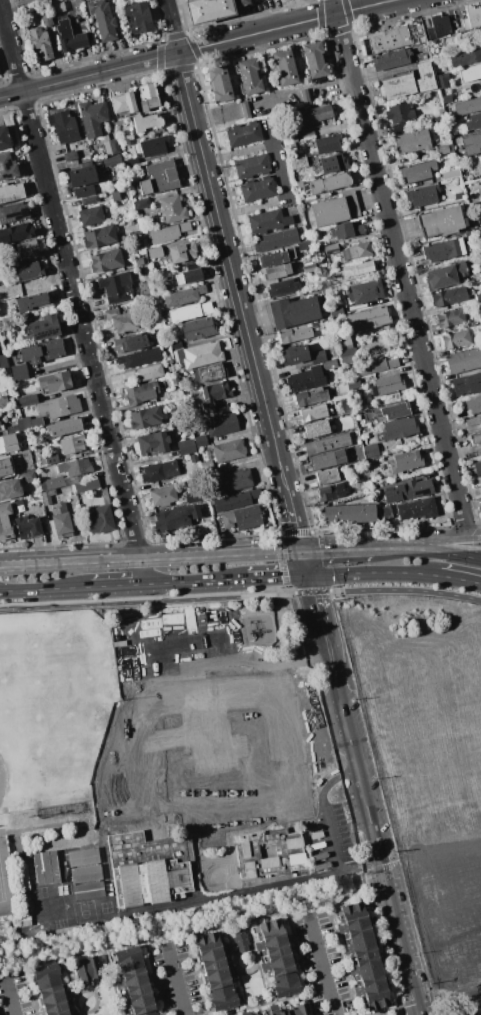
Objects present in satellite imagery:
building: (28, 0)
building: (284, 0)
building: (241, 2)
building: (59, 7)
building: (208, 10)
building: (138, 17)
building: (472, 18)
building: (103, 19)
building: (47, 20)
road: (172, 26)
road: (286, 26)
building: (439, 27)
building: (460, 30)
building: (70, 36)
building: (394, 37)
building: (450, 42)
building: (40, 43)
building: (465, 56)
building: (391, 59)
building: (314, 60)
building: (286, 67)
building: (470, 73)
road: (378, 74)
road: (89, 75)
building: (248, 76)
building: (424, 76)
building: (442, 80)
building: (479, 83)
building: (220, 84)
building: (397, 87)
building: (148, 96)
building: (305, 98)
building: (446, 98)
building: (123, 102)
building: (468, 107)
building: (245, 110)
building: (399, 112)
building: (316, 116)
building: (92, 118)
building: (474, 121)
building: (147, 122)
building: (119, 123)
building: (63, 126)
building: (339, 127)
building: (399, 128)
building: (244, 134)
building: (289, 137)
building: (4, 138)
building: (411, 142)
building: (328, 143)
building: (471, 143)
building: (110, 145)
building: (154, 146)
building: (443, 149)
road: (238, 153)
building: (70, 156)
building: (112, 160)
building: (132, 162)
building: (299, 162)
building: (332, 163)
building: (252, 166)
building: (7, 167)
building: (418, 171)
building: (450, 173)
building: (81, 176)
building: (160, 178)
building: (480, 182)
building: (329, 183)
building: (258, 189)
building: (84, 191)
building: (11, 193)
building: (115, 195)
road: (285, 195)
building: (423, 195)
building: (458, 195)
building: (87, 200)
building: (142, 204)
building: (173, 209)
building: (334, 210)
building: (13, 213)
building: (479, 215)
building: (92, 216)
building: (268, 221)
building: (441, 221)
building: (346, 230)
building: (480, 232)
building: (16, 233)
building: (169, 233)
building: (99, 236)
building: (277, 240)
building: (140, 245)
road: (225, 245)
building: (304, 246)
building: (331, 249)
building: (444, 249)
building: (27, 250)
building: (360, 250)
building: (183, 252)
building: (142, 253)
building: (155, 253)
building: (277, 257)
building: (106, 260)
building: (139, 262)
road: (399, 267)
building: (310, 268)
building: (358, 269)
building: (27, 271)
building: (279, 271)
building: (444, 275)
building: (189, 276)
road: (70, 281)
building: (117, 287)
building: (283, 288)
building: (162, 290)
building: (366, 291)
building: (184, 296)
building: (448, 296)
building: (478, 297)
building: (31, 302)
building: (479, 308)
building: (335, 310)
building: (293, 311)
building: (190, 312)
building: (450, 318)
building: (369, 319)
building: (122, 320)
building: (472, 324)
building: (44, 328)
building: (198, 328)
building: (295, 334)
building: (343, 339)
building: (456, 339)
building: (130, 343)
building: (175, 344)
building: (43, 351)
building: (177, 355)
building: (202, 355)
building: (295, 355)
building: (347, 356)
building: (318, 357)
building: (140, 358)
building: (463, 361)
building: (3, 362)
building: (330, 365)
building: (376, 365)
building: (19, 372)
building: (213, 372)
building: (148, 373)
building: (175, 380)
building: (301, 380)
building: (56, 382)
building: (466, 383)
building: (355, 384)
building: (387, 385)
building: (141, 393)
building: (214, 394)
building: (310, 397)
building: (27, 400)
building: (3, 402)
building: (473, 405)
building: (60, 406)
building: (396, 410)
building: (313, 412)
building: (145, 417)
building: (368, 417)
building: (473, 421)
building: (32, 422)
building: (221, 424)
building: (16, 426)
building: (64, 427)
building: (1, 428)
building: (399, 428)
building: (316, 429)
building: (475, 438)
building: (200, 441)
building: (153, 442)
building: (9, 444)
building: (72, 444)
building: (327, 444)
building: (186, 447)
building: (229, 450)
building: (373, 450)
building: (194, 458)
building: (49, 459)
building: (328, 459)
building: (405, 461)
building: (207, 466)
building: (75, 467)
building: (4, 468)
road: (282, 468)
building: (477, 468)
building: (160, 471)
building: (328, 476)
building: (28, 477)
building: (236, 480)
building: (51, 483)
building: (376, 485)
building: (87, 486)
building: (352, 488)
building: (417, 488)
building: (9, 490)
building: (332, 492)
building: (190, 495)
building: (47, 496)
building: (163, 496)
building: (391, 499)
building: (236, 500)
building: (381, 503)
building: (21, 509)
building: (417, 509)
building: (5, 511)
building: (385, 512)
building: (366, 513)
building: (349, 514)
building: (332, 515)
building: (176, 517)
building: (242, 518)
building: (100, 519)
building: (61, 521)
road: (296, 526)
building: (28, 527)
building: (6, 530)
road: (474, 534)
road: (436, 540)
road: (390, 548)
road: (338, 550)
road: (444, 551)
traffic signals: (304, 552)
road: (240, 555)
road: (159, 560)
road: (79, 563)
road: (307, 564)
road: (8, 566)
road: (142, 573)
road: (374, 574)
road: (278, 577)
traffic signals: (310, 577)
road: (459, 579)
road: (195, 583)
road: (116, 587)
road: (45, 590)
road: (397, 590)
road: (315, 600)
road: (156, 601)
park: (158, 640)
road: (327, 643)
park: (55, 707)
park: (66, 736)
crop: (429, 765)
road: (358, 766)
park: (3, 777)
road: (332, 781)
building: (184, 797)
building: (110, 799)
road: (52, 825)
road: (331, 840)
building: (84, 865)
building: (49, 868)
park: (7, 880)
road: (250, 889)
building: (87, 890)
building: (354, 920)
building: (24, 921)
building: (271, 937)
building: (240, 940)
road: (403, 942)
building: (360, 946)
building: (211, 950)
building: (128, 958)
building: (278, 963)
road: (323, 966)
building: (366, 967)
building: (88, 969)
building: (47, 975)
building: (219, 976)
building: (133, 981)
road: (179, 982)
building: (285, 985)
building: (373, 992)
building: (54, 997)
road: (13, 998)
building: (224, 998)
building: (139, 1002)
building: (299, 1008)
road: (453, 1008)
building: (276, 1010)
building: (61, 1011)
building: (149, 1013)
building: (246, 1013)
building: (255, 1014)

